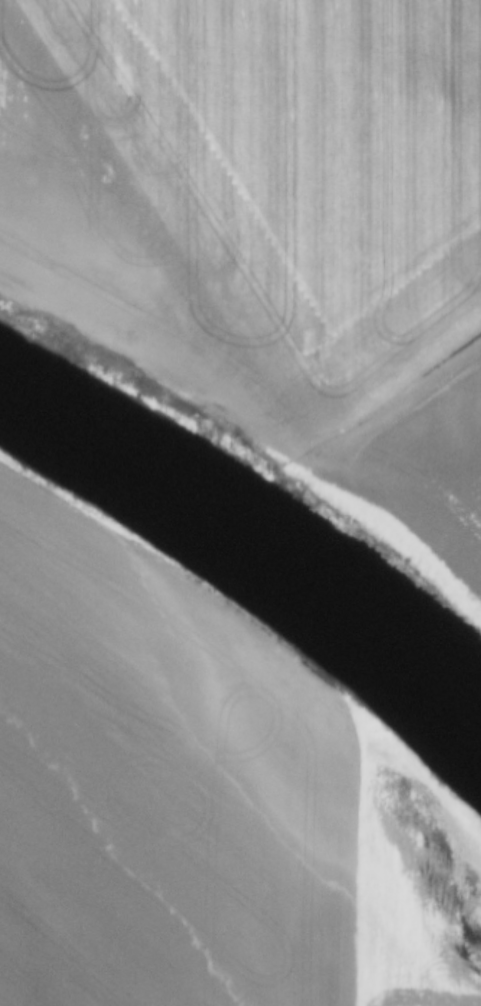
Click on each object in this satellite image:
river: (254, 542)

